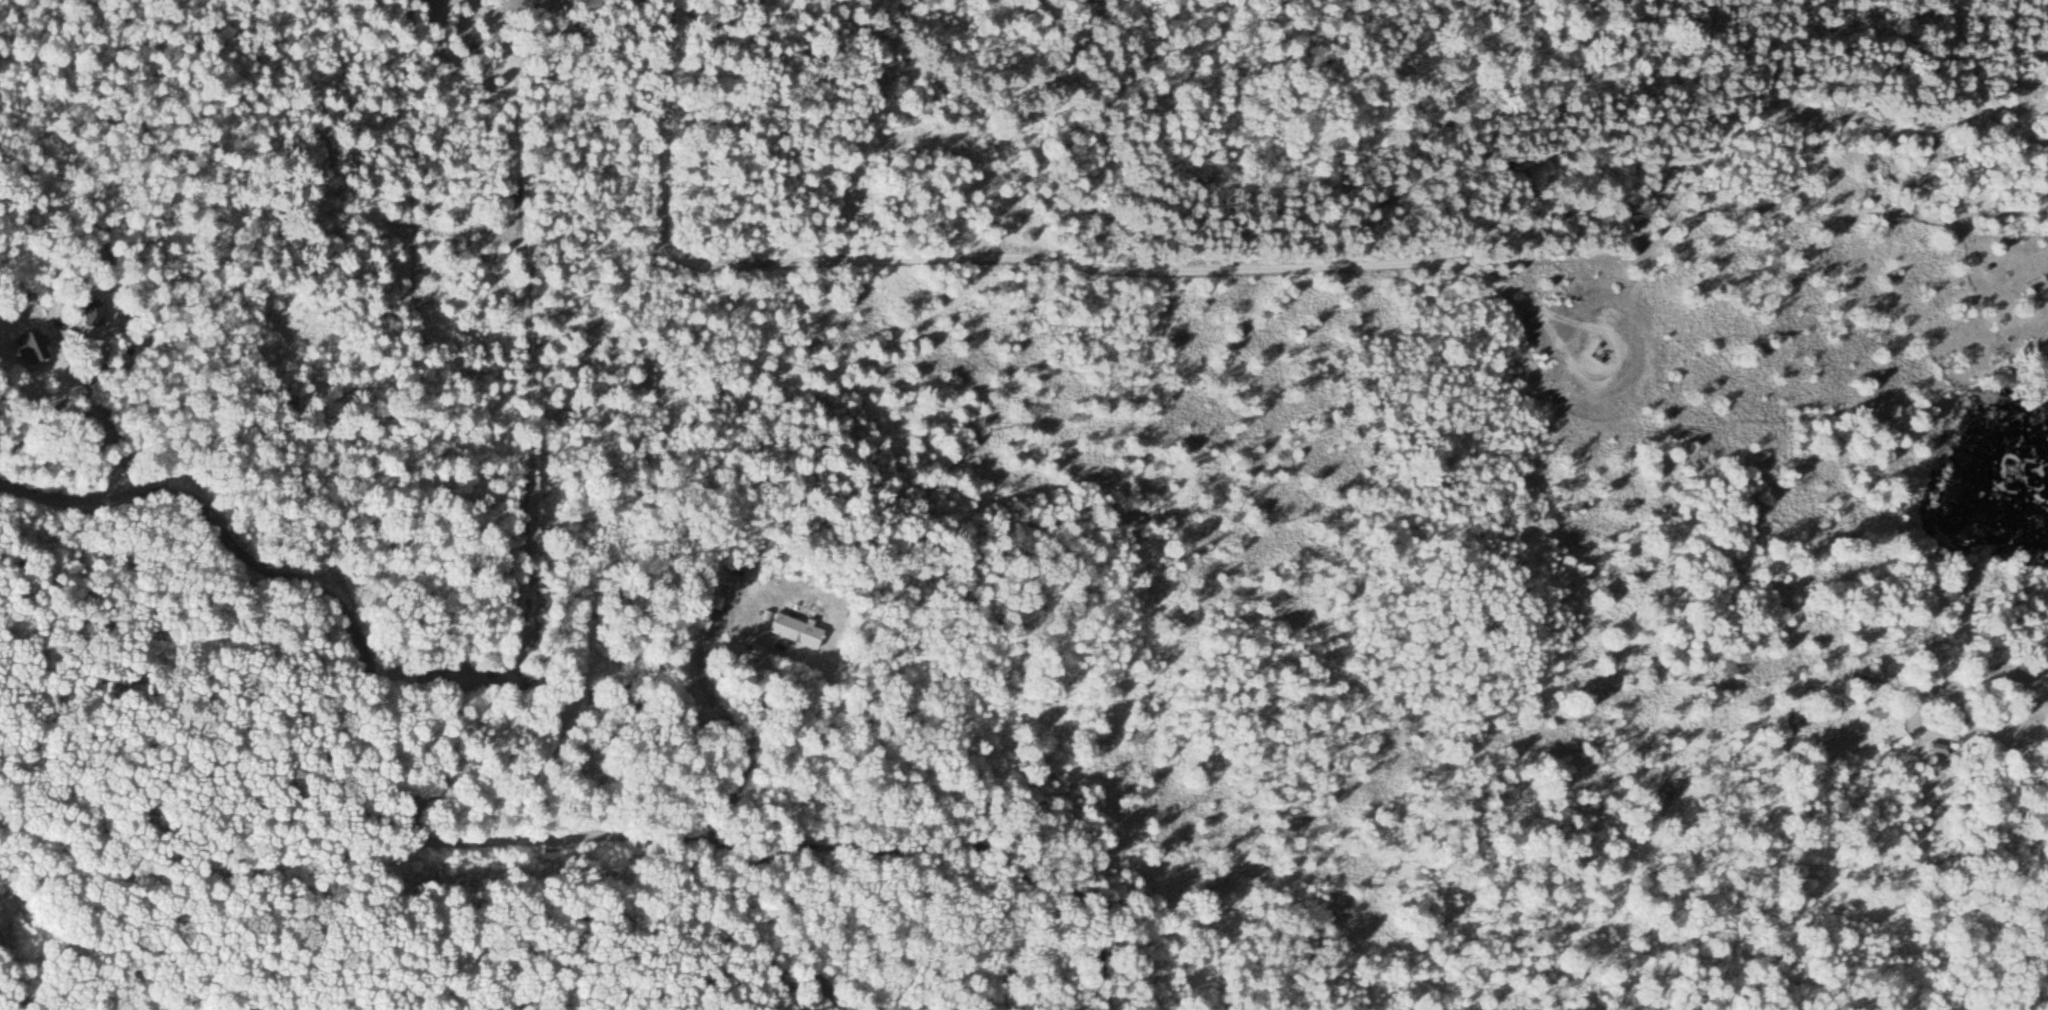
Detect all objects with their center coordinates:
road: (1006, 256)
building: (94, 314)
building: (32, 346)
road: (1623, 374)
road: (523, 420)
building: (793, 629)
road: (395, 792)

